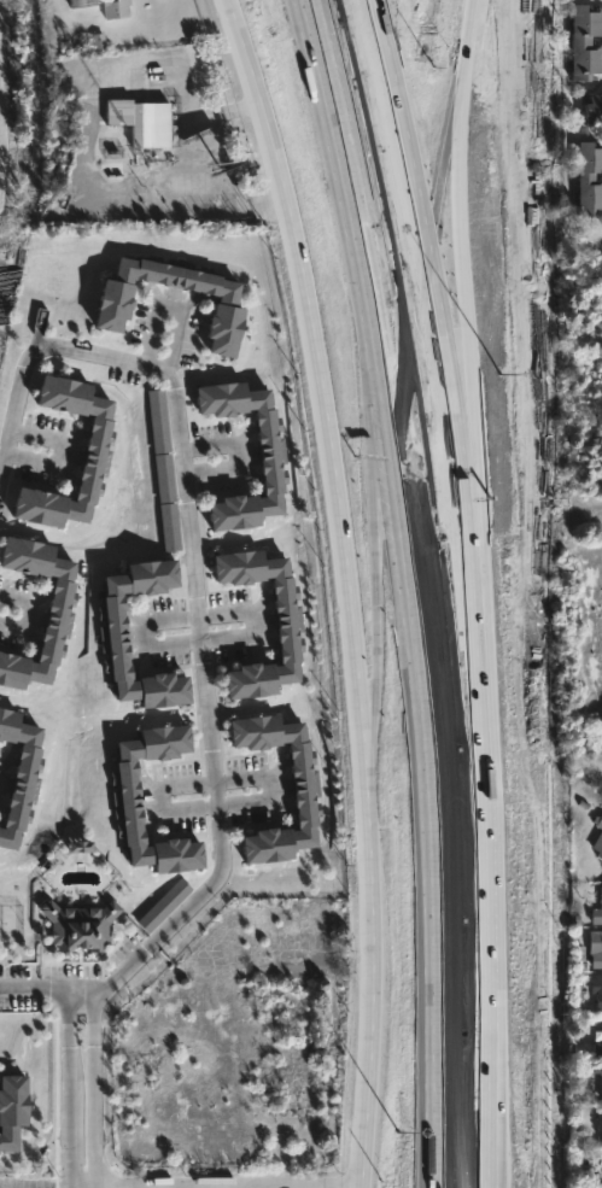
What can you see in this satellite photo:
building: (105, 6)
road: (305, 10)
building: (580, 41)
building: (591, 110)
building: (140, 121)
road: (455, 124)
building: (585, 177)
building: (188, 186)
road: (592, 242)
road: (344, 250)
road: (369, 277)
building: (112, 305)
road: (318, 363)
road: (458, 398)
building: (157, 420)
building: (95, 447)
building: (271, 452)
building: (163, 478)
park: (581, 505)
building: (168, 527)
road: (191, 538)
road: (466, 590)
road: (380, 591)
building: (58, 616)
building: (287, 619)
road: (140, 632)
building: (111, 637)
building: (19, 777)
building: (305, 783)
building: (123, 801)
road: (214, 801)
building: (597, 836)
building: (80, 847)
road: (384, 853)
road: (432, 864)
road: (366, 868)
building: (163, 906)
building: (597, 911)
building: (78, 926)
building: (595, 949)
road: (18, 987)
road: (104, 987)
building: (597, 991)
building: (601, 1023)
building: (601, 1038)
building: (594, 1049)
building: (600, 1081)
road: (66, 1087)
road: (92, 1087)
road: (367, 1095)
building: (601, 1101)
building: (11, 1108)
building: (600, 1125)
road: (350, 1176)
road: (159, 1186)

